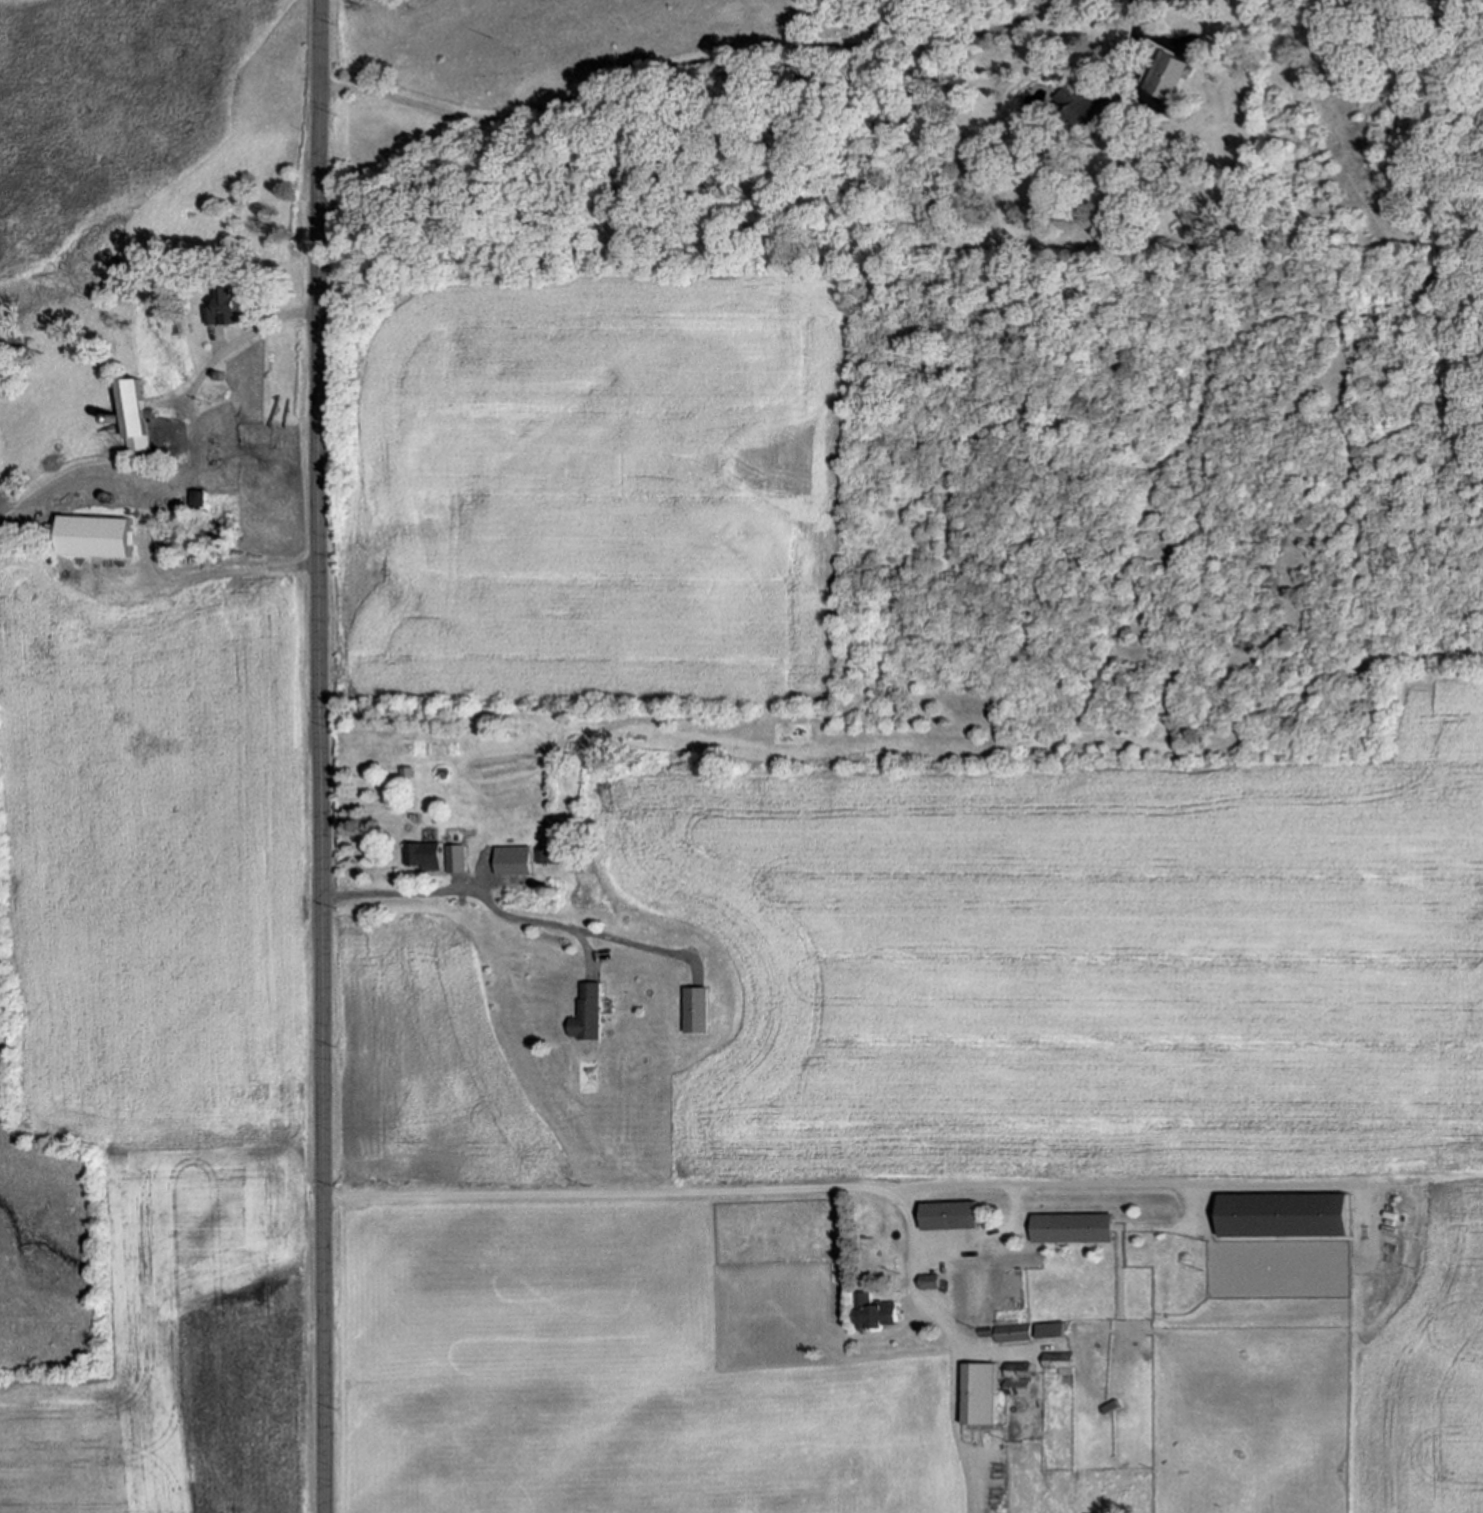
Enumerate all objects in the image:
road: (689, 62)
building: (1167, 73)
building: (1076, 101)
building: (222, 310)
building: (173, 322)
building: (135, 404)
building: (114, 417)
road: (160, 486)
building: (195, 496)
building: (96, 535)
road: (318, 756)
building: (543, 855)
building: (555, 855)
building: (423, 857)
building: (455, 859)
building: (513, 862)
road: (493, 908)
building: (587, 1012)
road: (843, 1191)
building: (948, 1213)
building: (1281, 1214)
building: (1072, 1228)
road: (981, 1233)
building: (928, 1279)
building: (871, 1311)
road: (935, 1319)
building: (982, 1329)
building: (1013, 1330)
building: (1050, 1331)
building: (1057, 1359)
building: (1018, 1368)
building: (1018, 1387)
building: (978, 1393)
building: (1109, 1407)

